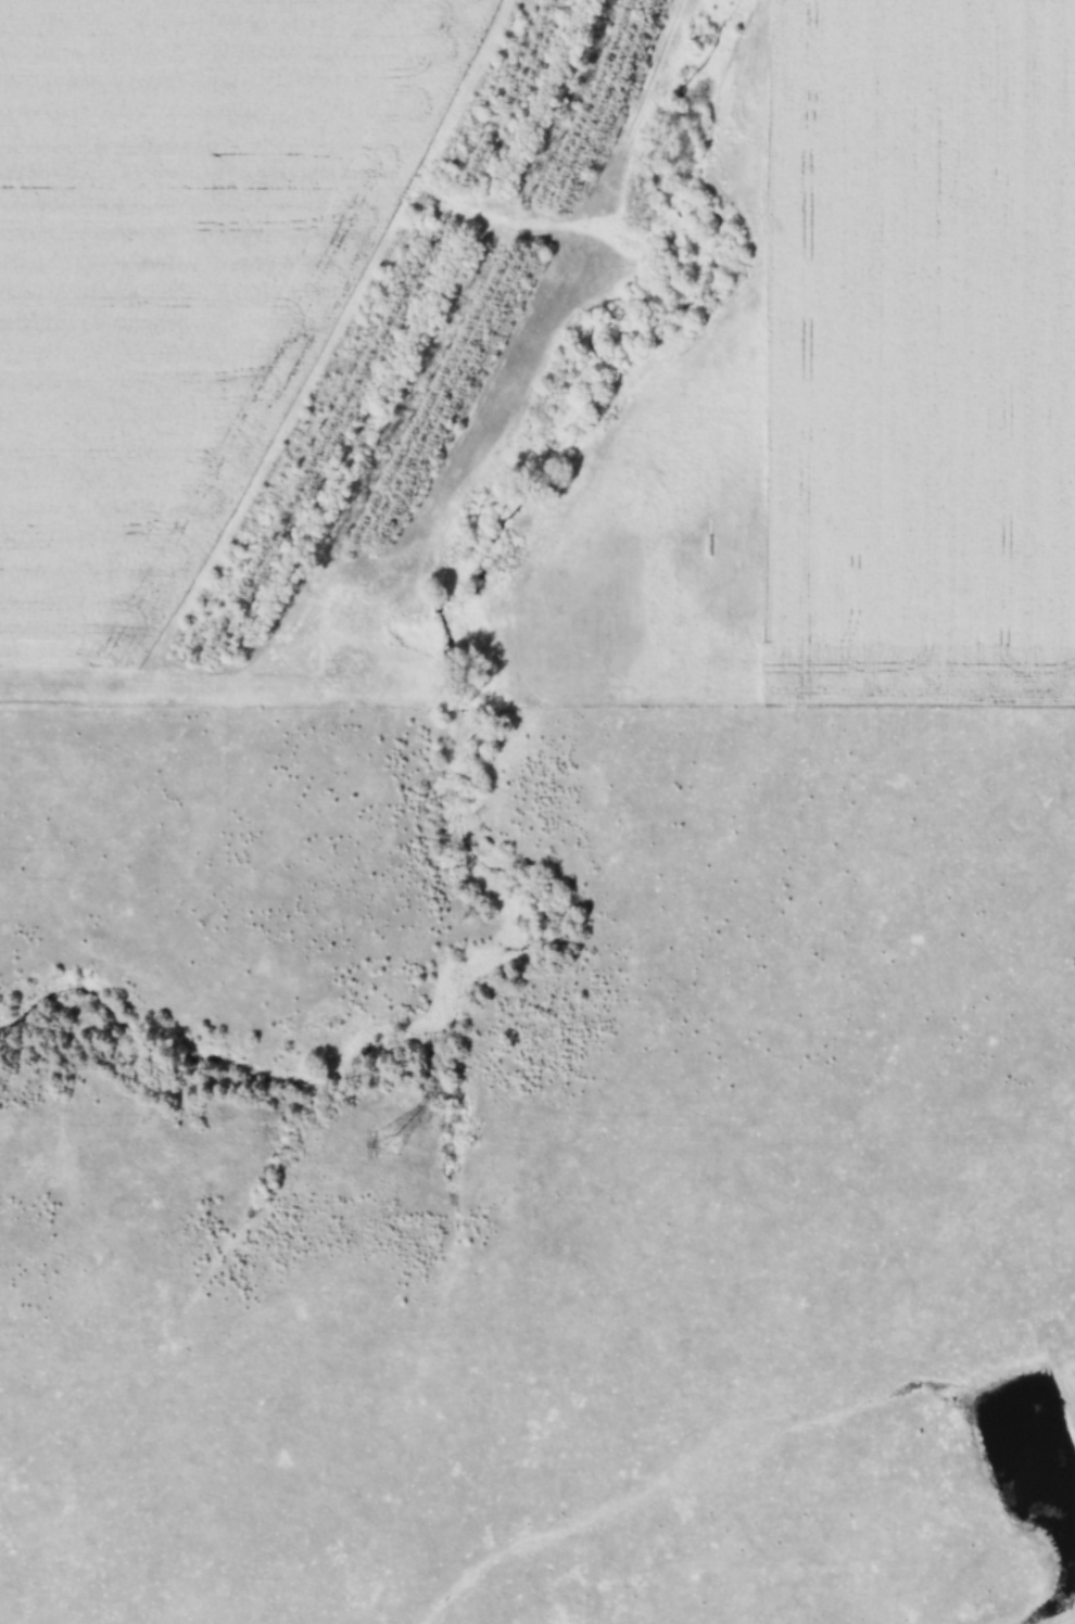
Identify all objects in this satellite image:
power tower: (391, 1145)

